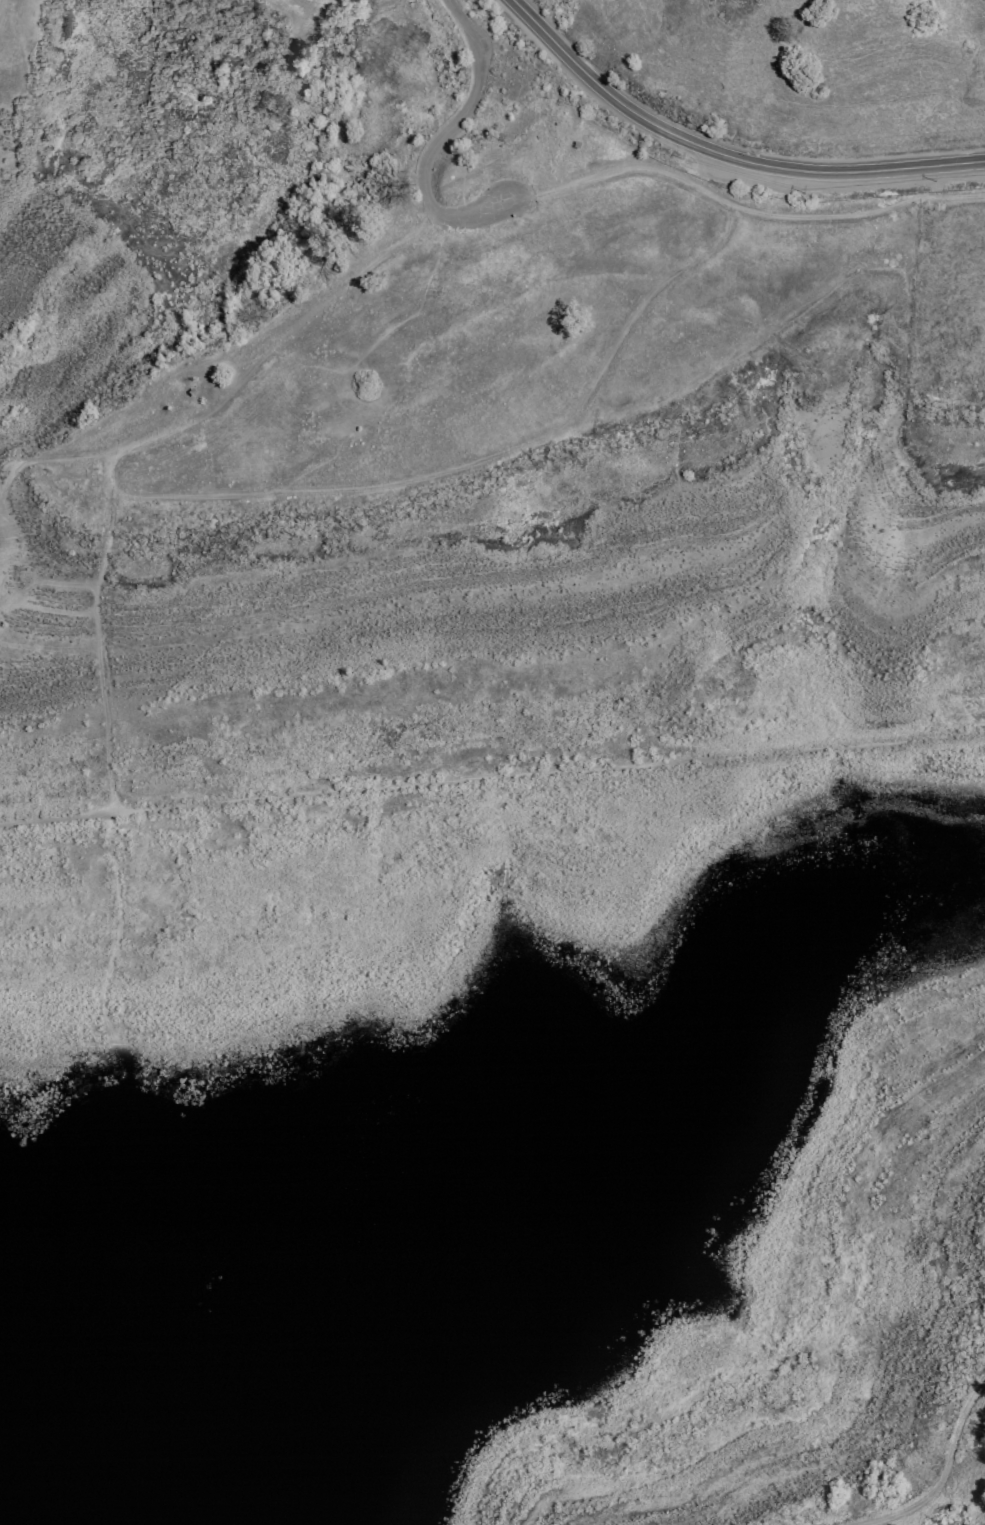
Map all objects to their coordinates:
road: (448, 139)
road: (723, 154)
road: (744, 209)
park: (65, 526)
road: (103, 721)
road: (942, 1475)

